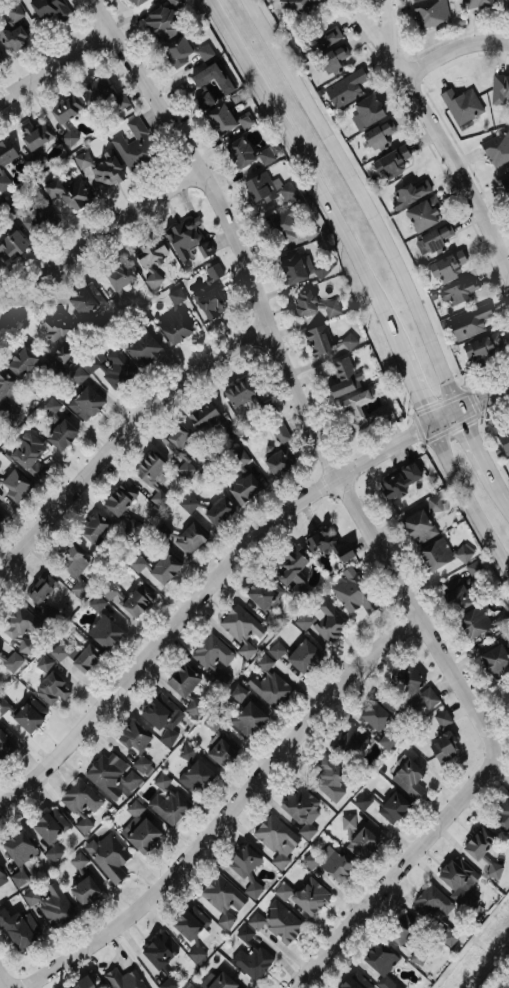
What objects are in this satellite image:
building: (133, 2)
building: (174, 3)
building: (475, 3)
building: (507, 4)
building: (295, 5)
building: (49, 10)
building: (429, 13)
road: (387, 18)
road: (365, 21)
building: (161, 23)
building: (12, 31)
building: (321, 34)
road: (453, 48)
building: (183, 51)
building: (0, 57)
building: (326, 63)
road: (58, 68)
building: (344, 88)
building: (499, 88)
building: (101, 94)
building: (211, 98)
building: (461, 105)
building: (367, 109)
building: (63, 116)
building: (377, 136)
building: (32, 138)
building: (134, 145)
building: (496, 148)
building: (5, 152)
building: (238, 152)
road: (448, 153)
building: (264, 156)
building: (391, 162)
building: (104, 170)
road: (310, 174)
building: (507, 180)
building: (3, 182)
building: (259, 188)
building: (66, 189)
building: (409, 193)
road: (361, 201)
building: (29, 213)
building: (423, 214)
building: (287, 227)
building: (182, 236)
building: (435, 240)
road: (97, 241)
building: (10, 246)
building: (203, 251)
building: (149, 257)
building: (445, 267)
building: (299, 268)
building: (213, 271)
building: (117, 274)
building: (458, 292)
building: (175, 296)
building: (83, 300)
building: (208, 301)
building: (119, 302)
building: (312, 305)
building: (467, 322)
building: (172, 326)
building: (52, 327)
building: (317, 340)
building: (348, 341)
building: (482, 347)
building: (142, 349)
building: (20, 362)
building: (110, 366)
building: (77, 375)
building: (343, 376)
road: (296, 381)
road: (413, 390)
building: (239, 394)
building: (6, 397)
building: (84, 403)
building: (50, 406)
building: (350, 411)
traffic signals: (457, 413)
building: (205, 418)
traffic signals: (428, 427)
building: (277, 432)
building: (59, 434)
road: (126, 440)
building: (504, 440)
road: (475, 446)
building: (178, 448)
building: (28, 455)
building: (278, 462)
building: (151, 476)
building: (397, 481)
building: (13, 485)
building: (243, 488)
road: (501, 492)
road: (468, 497)
building: (118, 498)
building: (188, 503)
building: (433, 504)
building: (217, 511)
building: (0, 518)
building: (417, 526)
building: (93, 527)
building: (188, 538)
building: (327, 545)
building: (440, 553)
building: (72, 560)
building: (155, 568)
road: (232, 570)
building: (473, 570)
building: (289, 571)
building: (79, 588)
building: (108, 591)
building: (262, 592)
building: (353, 592)
building: (46, 595)
building: (456, 599)
building: (135, 600)
building: (95, 604)
building: (321, 620)
building: (479, 622)
building: (18, 626)
building: (240, 628)
building: (102, 632)
building: (507, 640)
building: (275, 650)
building: (59, 651)
building: (211, 652)
building: (0, 653)
building: (302, 656)
building: (84, 658)
building: (12, 661)
building: (494, 661)
building: (43, 663)
building: (182, 681)
building: (404, 683)
building: (268, 684)
building: (51, 689)
building: (237, 694)
building: (426, 697)
building: (2, 705)
building: (192, 707)
building: (158, 711)
building: (376, 713)
building: (28, 714)
building: (441, 718)
building: (247, 719)
building: (211, 722)
building: (167, 735)
building: (132, 737)
building: (385, 741)
building: (348, 743)
building: (4, 746)
building: (441, 747)
building: (185, 752)
building: (220, 752)
building: (142, 766)
building: (106, 773)
building: (195, 777)
building: (328, 778)
building: (407, 778)
building: (166, 801)
building: (80, 803)
building: (297, 804)
building: (388, 804)
road: (233, 810)
building: (502, 814)
building: (347, 822)
building: (48, 825)
building: (306, 831)
building: (142, 836)
building: (274, 839)
building: (360, 843)
building: (478, 843)
building: (17, 848)
building: (52, 853)
building: (108, 857)
building: (310, 859)
building: (77, 860)
building: (335, 866)
building: (245, 869)
building: (493, 870)
road: (398, 873)
building: (2, 878)
building: (18, 878)
building: (457, 880)
building: (83, 891)
building: (303, 896)
building: (221, 898)
building: (52, 905)
building: (430, 905)
building: (275, 921)
building: (189, 923)
building: (17, 929)
building: (404, 936)
building: (446, 936)
building: (158, 951)
building: (195, 954)
building: (249, 956)
building: (379, 959)
road: (8, 974)
building: (123, 979)
building: (221, 982)
building: (354, 982)
building: (167, 983)
building: (84, 984)
building: (190, 986)

